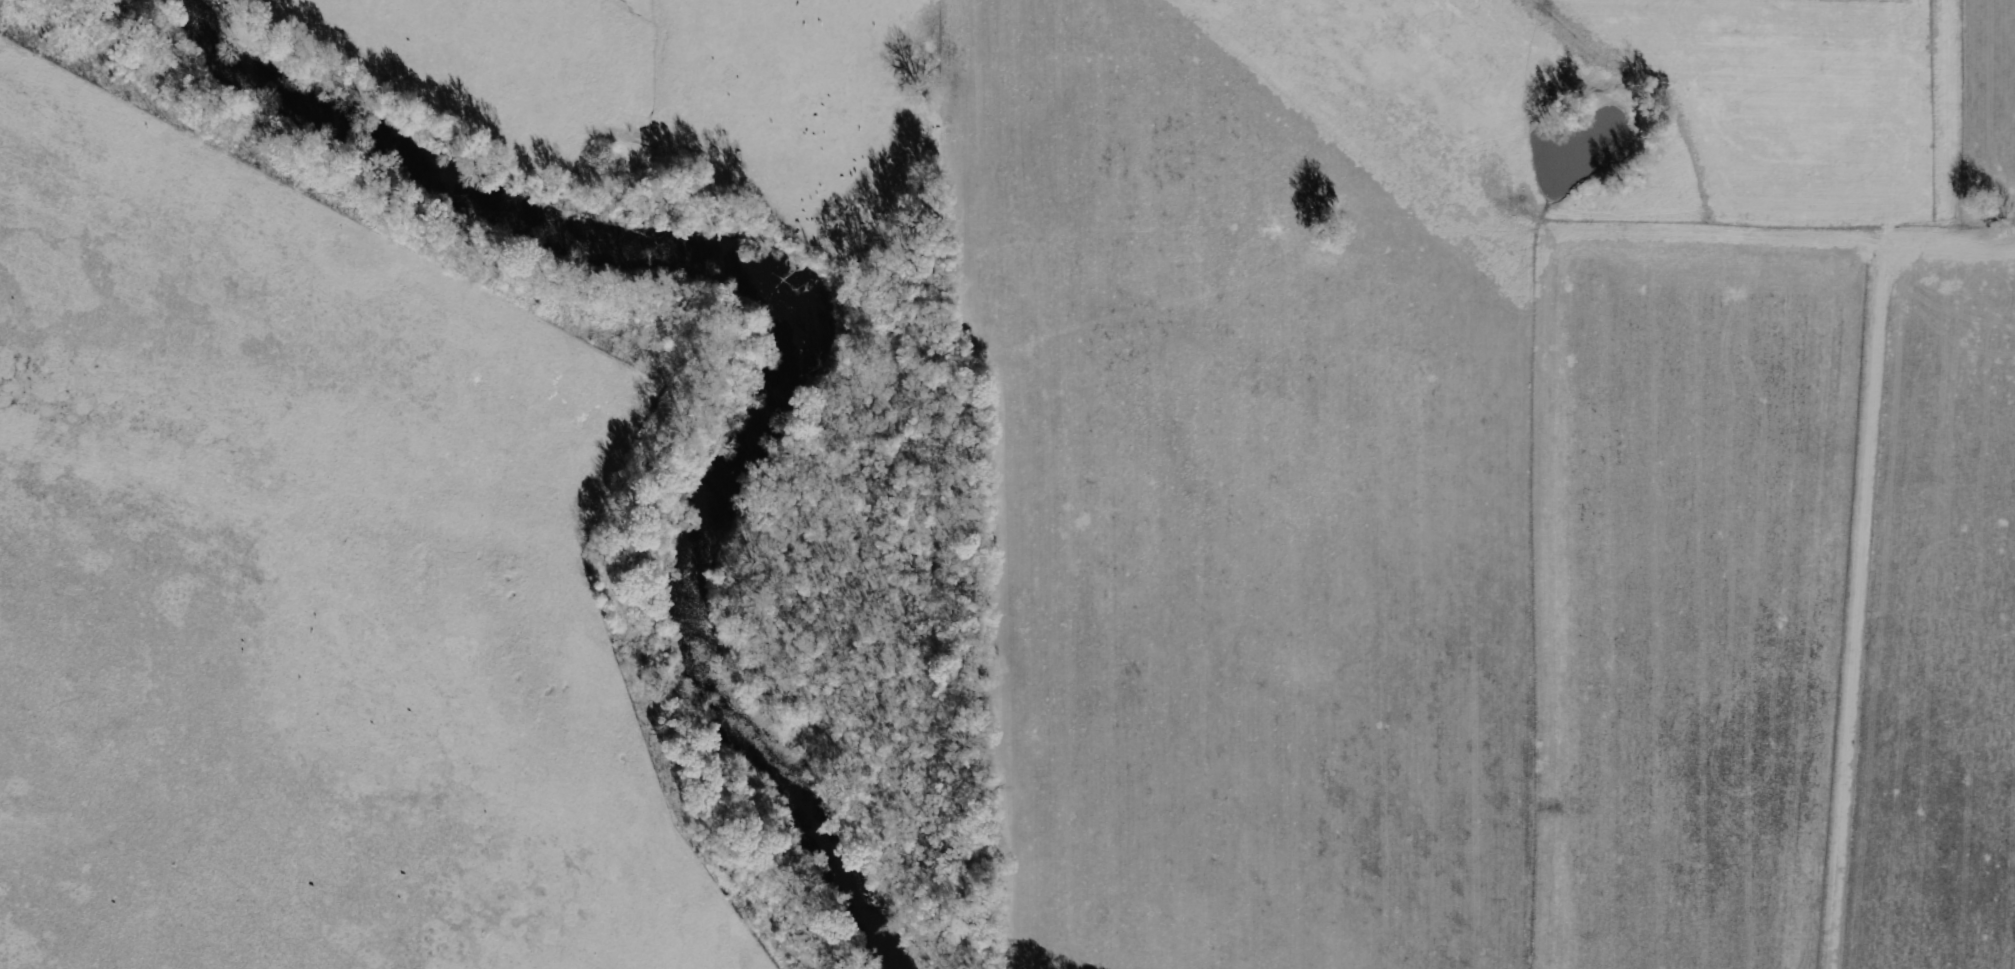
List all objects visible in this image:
river: (800, 322)

